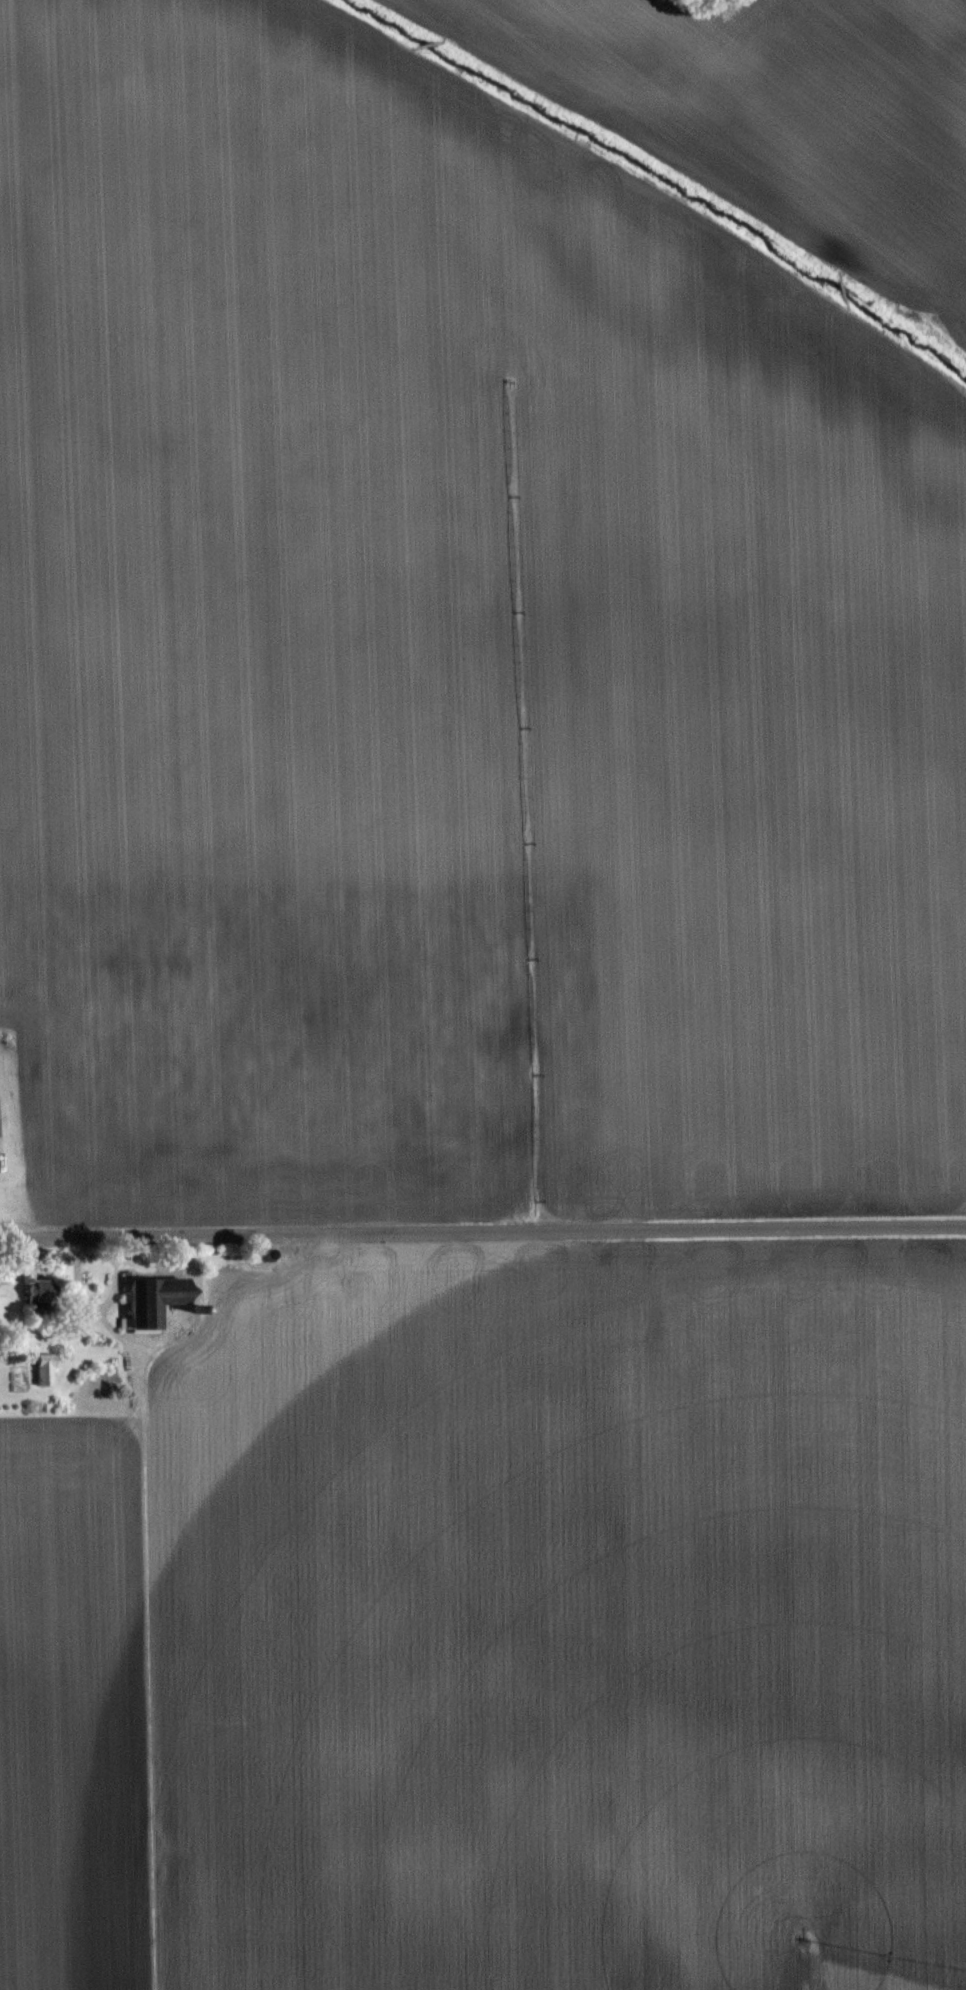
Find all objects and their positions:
road: (483, 1240)
building: (33, 1293)
building: (147, 1300)
building: (42, 1369)

